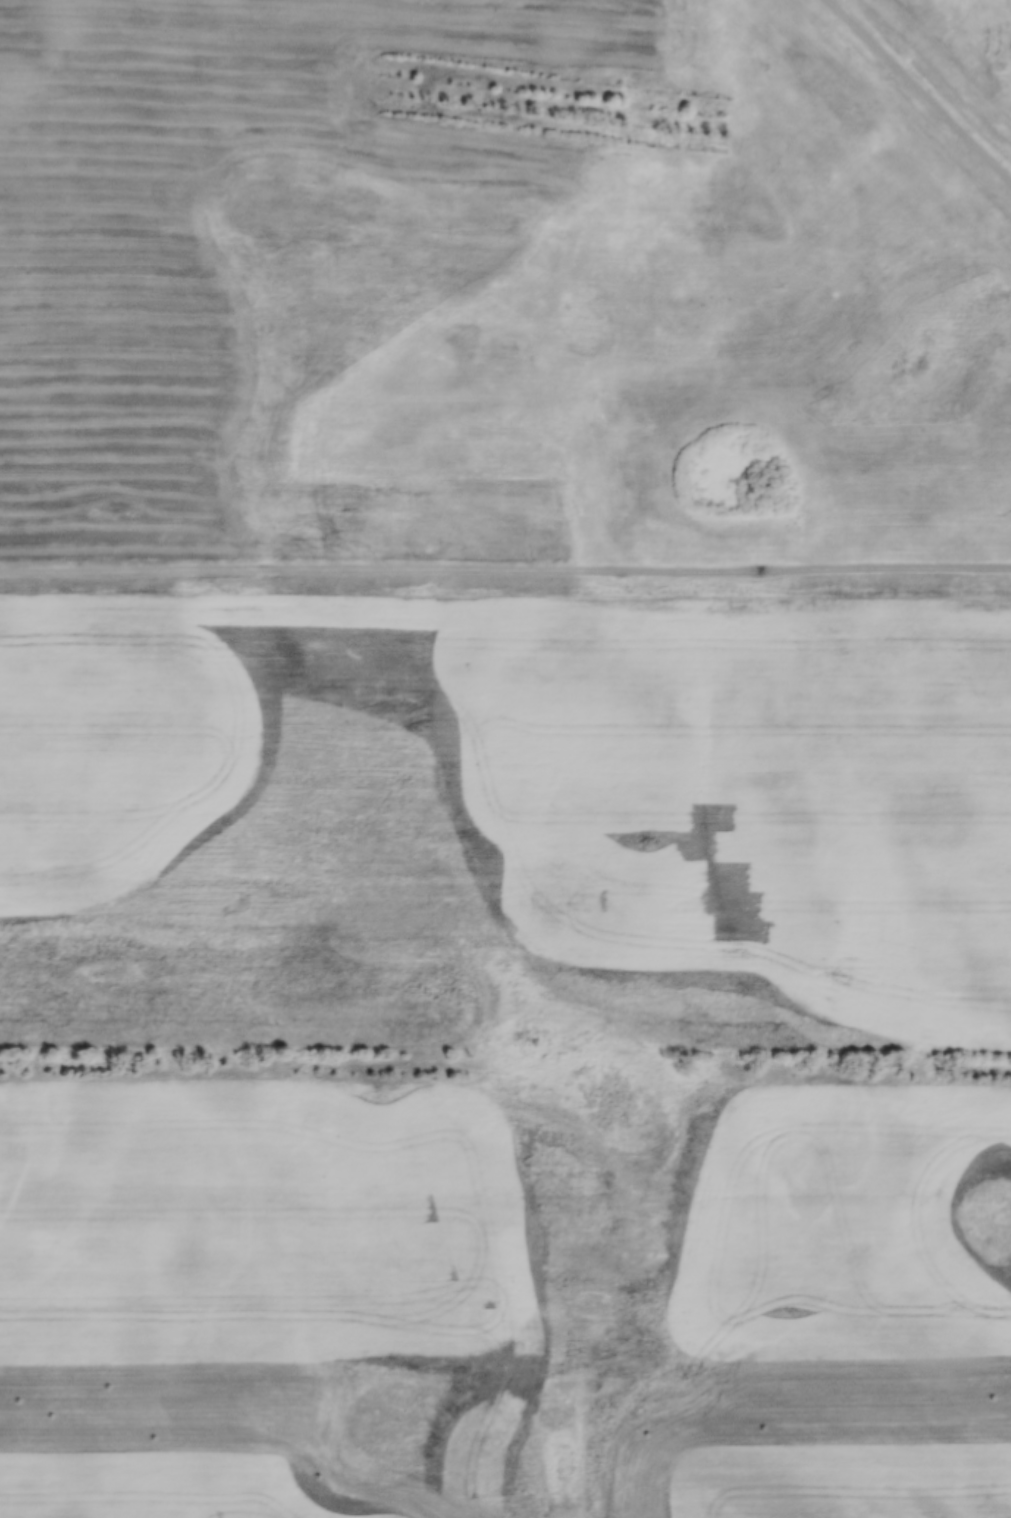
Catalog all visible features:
road: (915, 93)
road: (505, 568)

